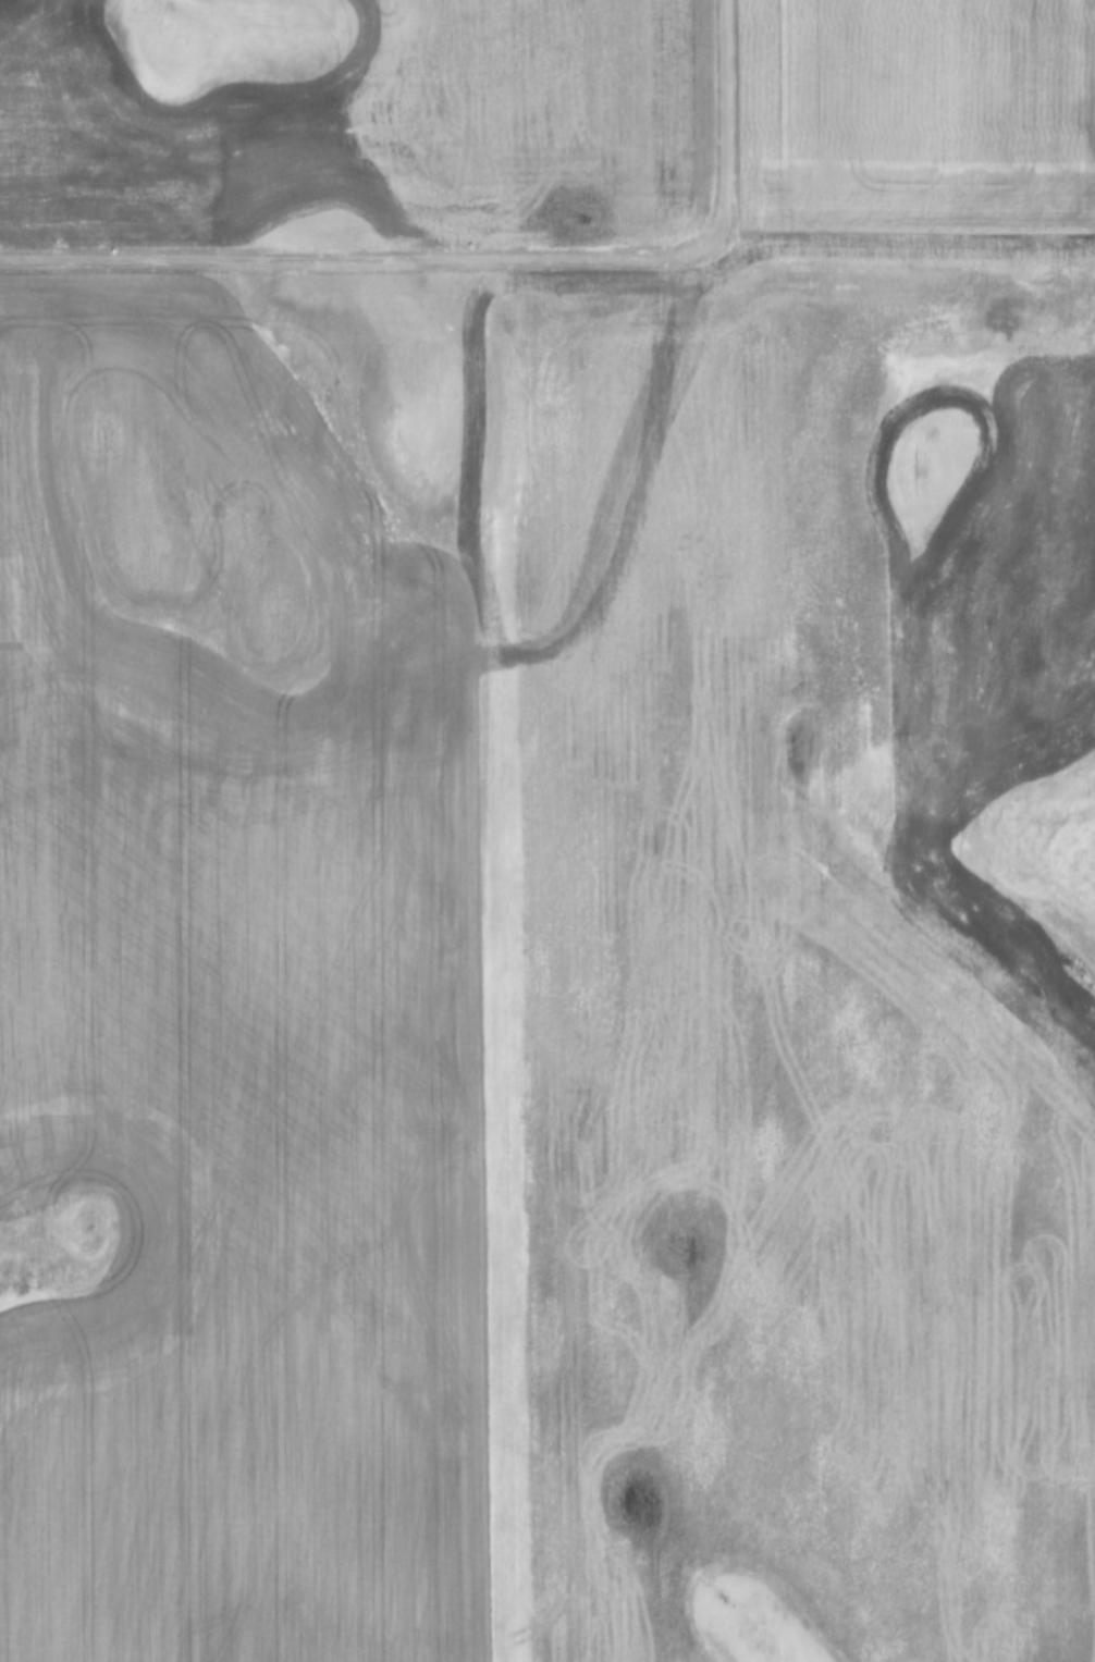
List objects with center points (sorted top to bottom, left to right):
building: (816, 197)

